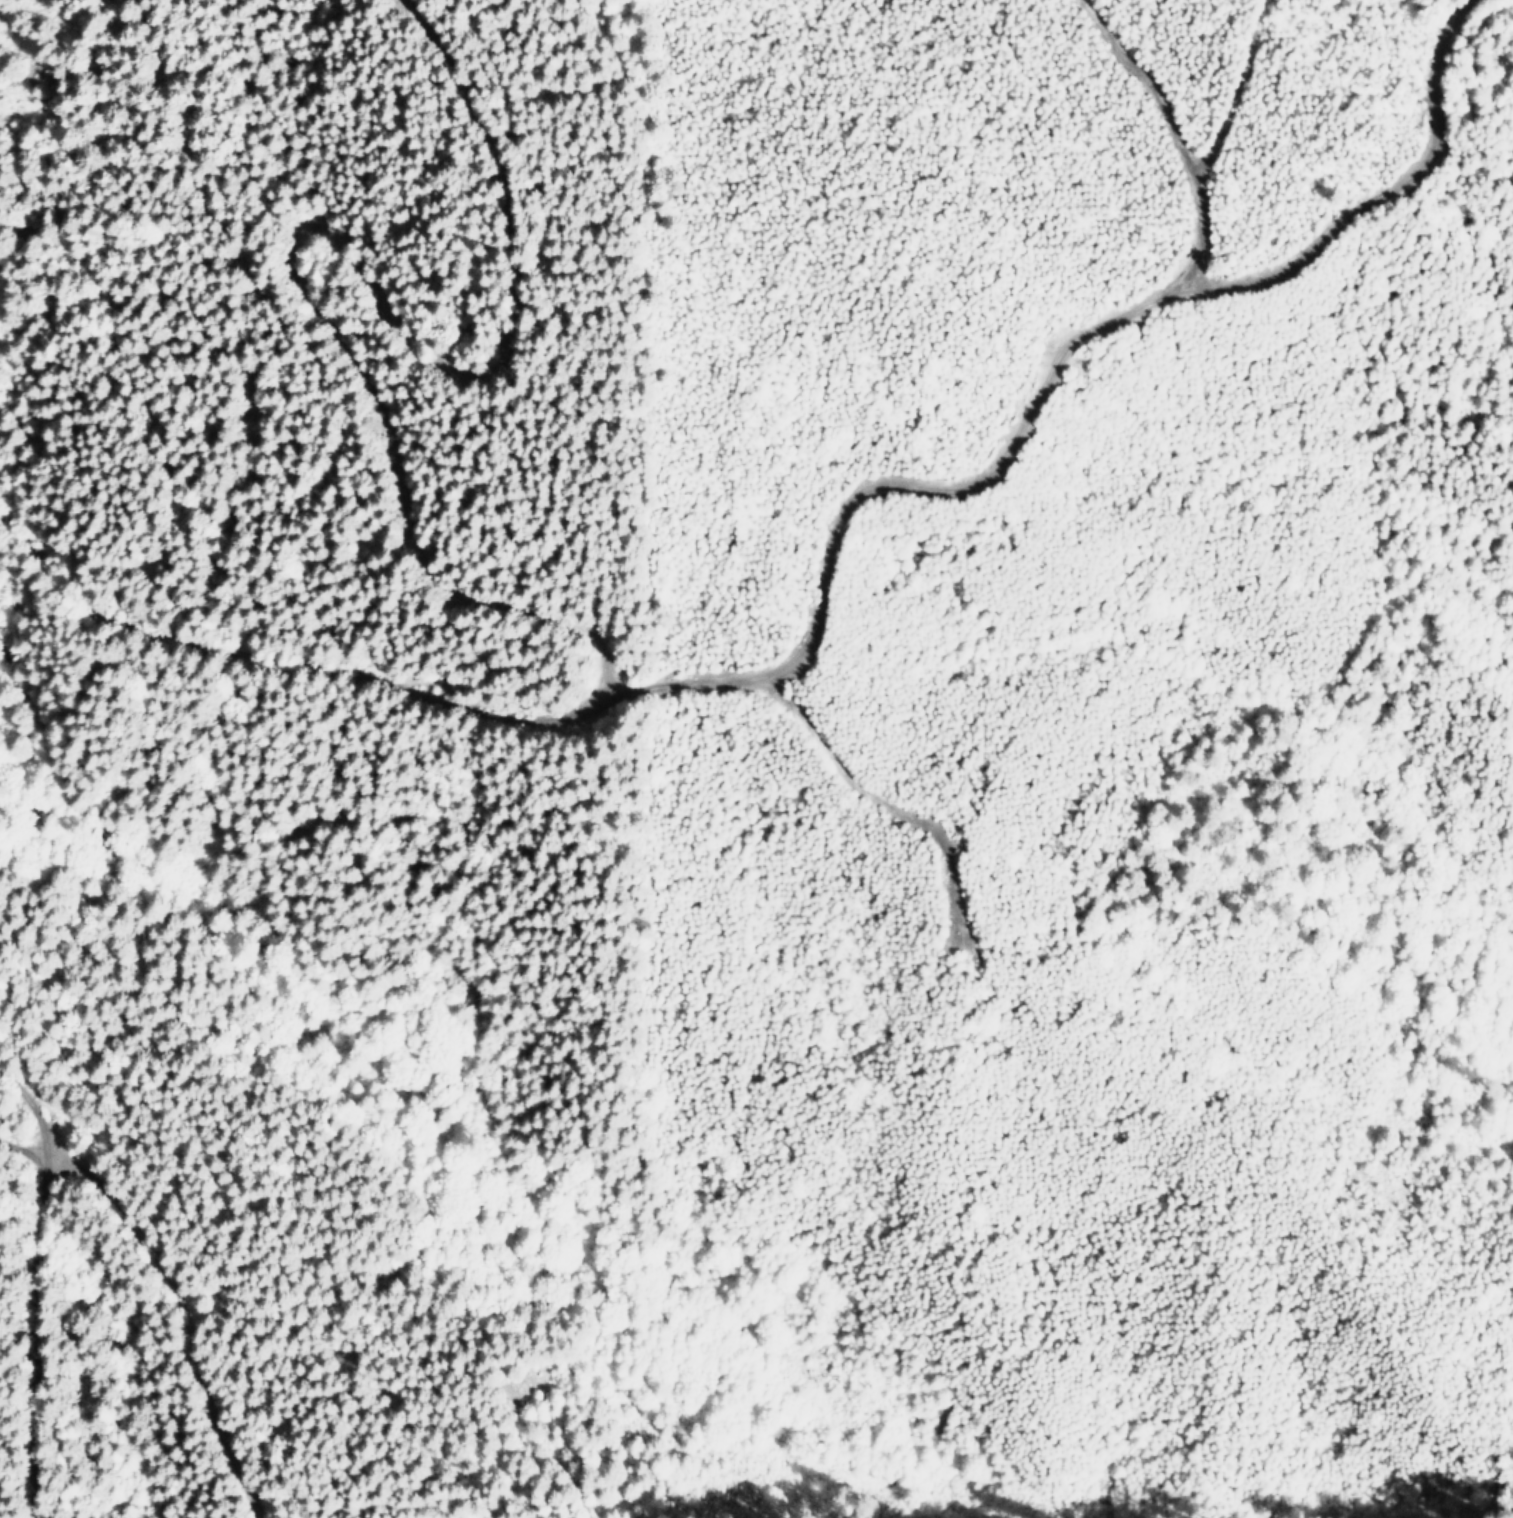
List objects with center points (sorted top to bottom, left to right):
road: (293, 239)
road: (830, 558)
road: (29, 1293)
road: (163, 1303)

